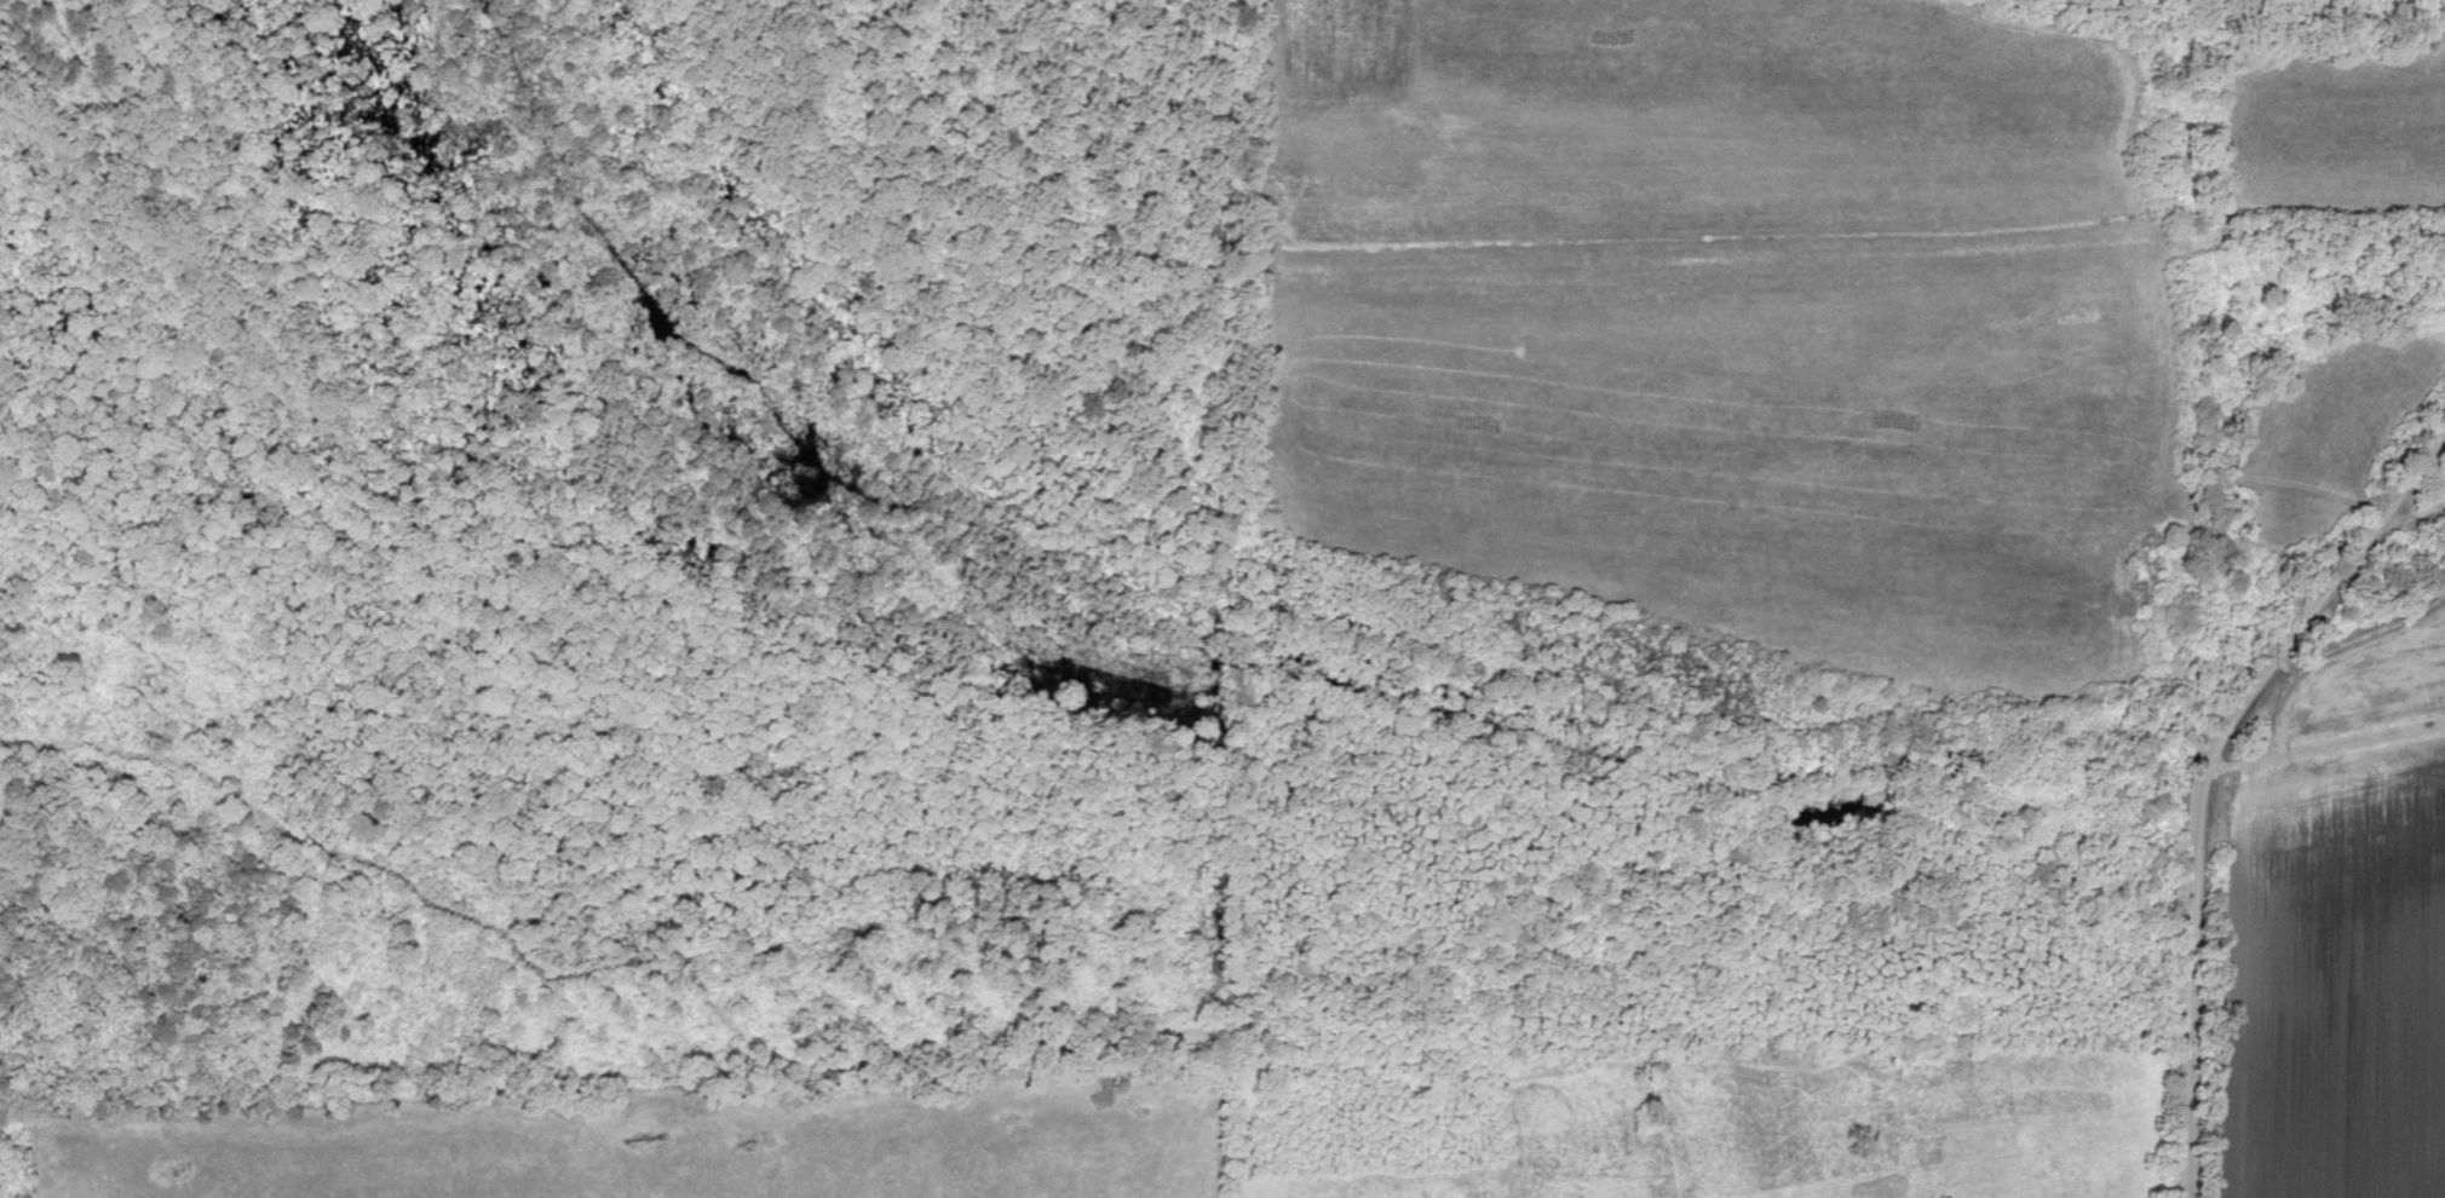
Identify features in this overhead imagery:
building: (2186, 513)
road: (2221, 774)

